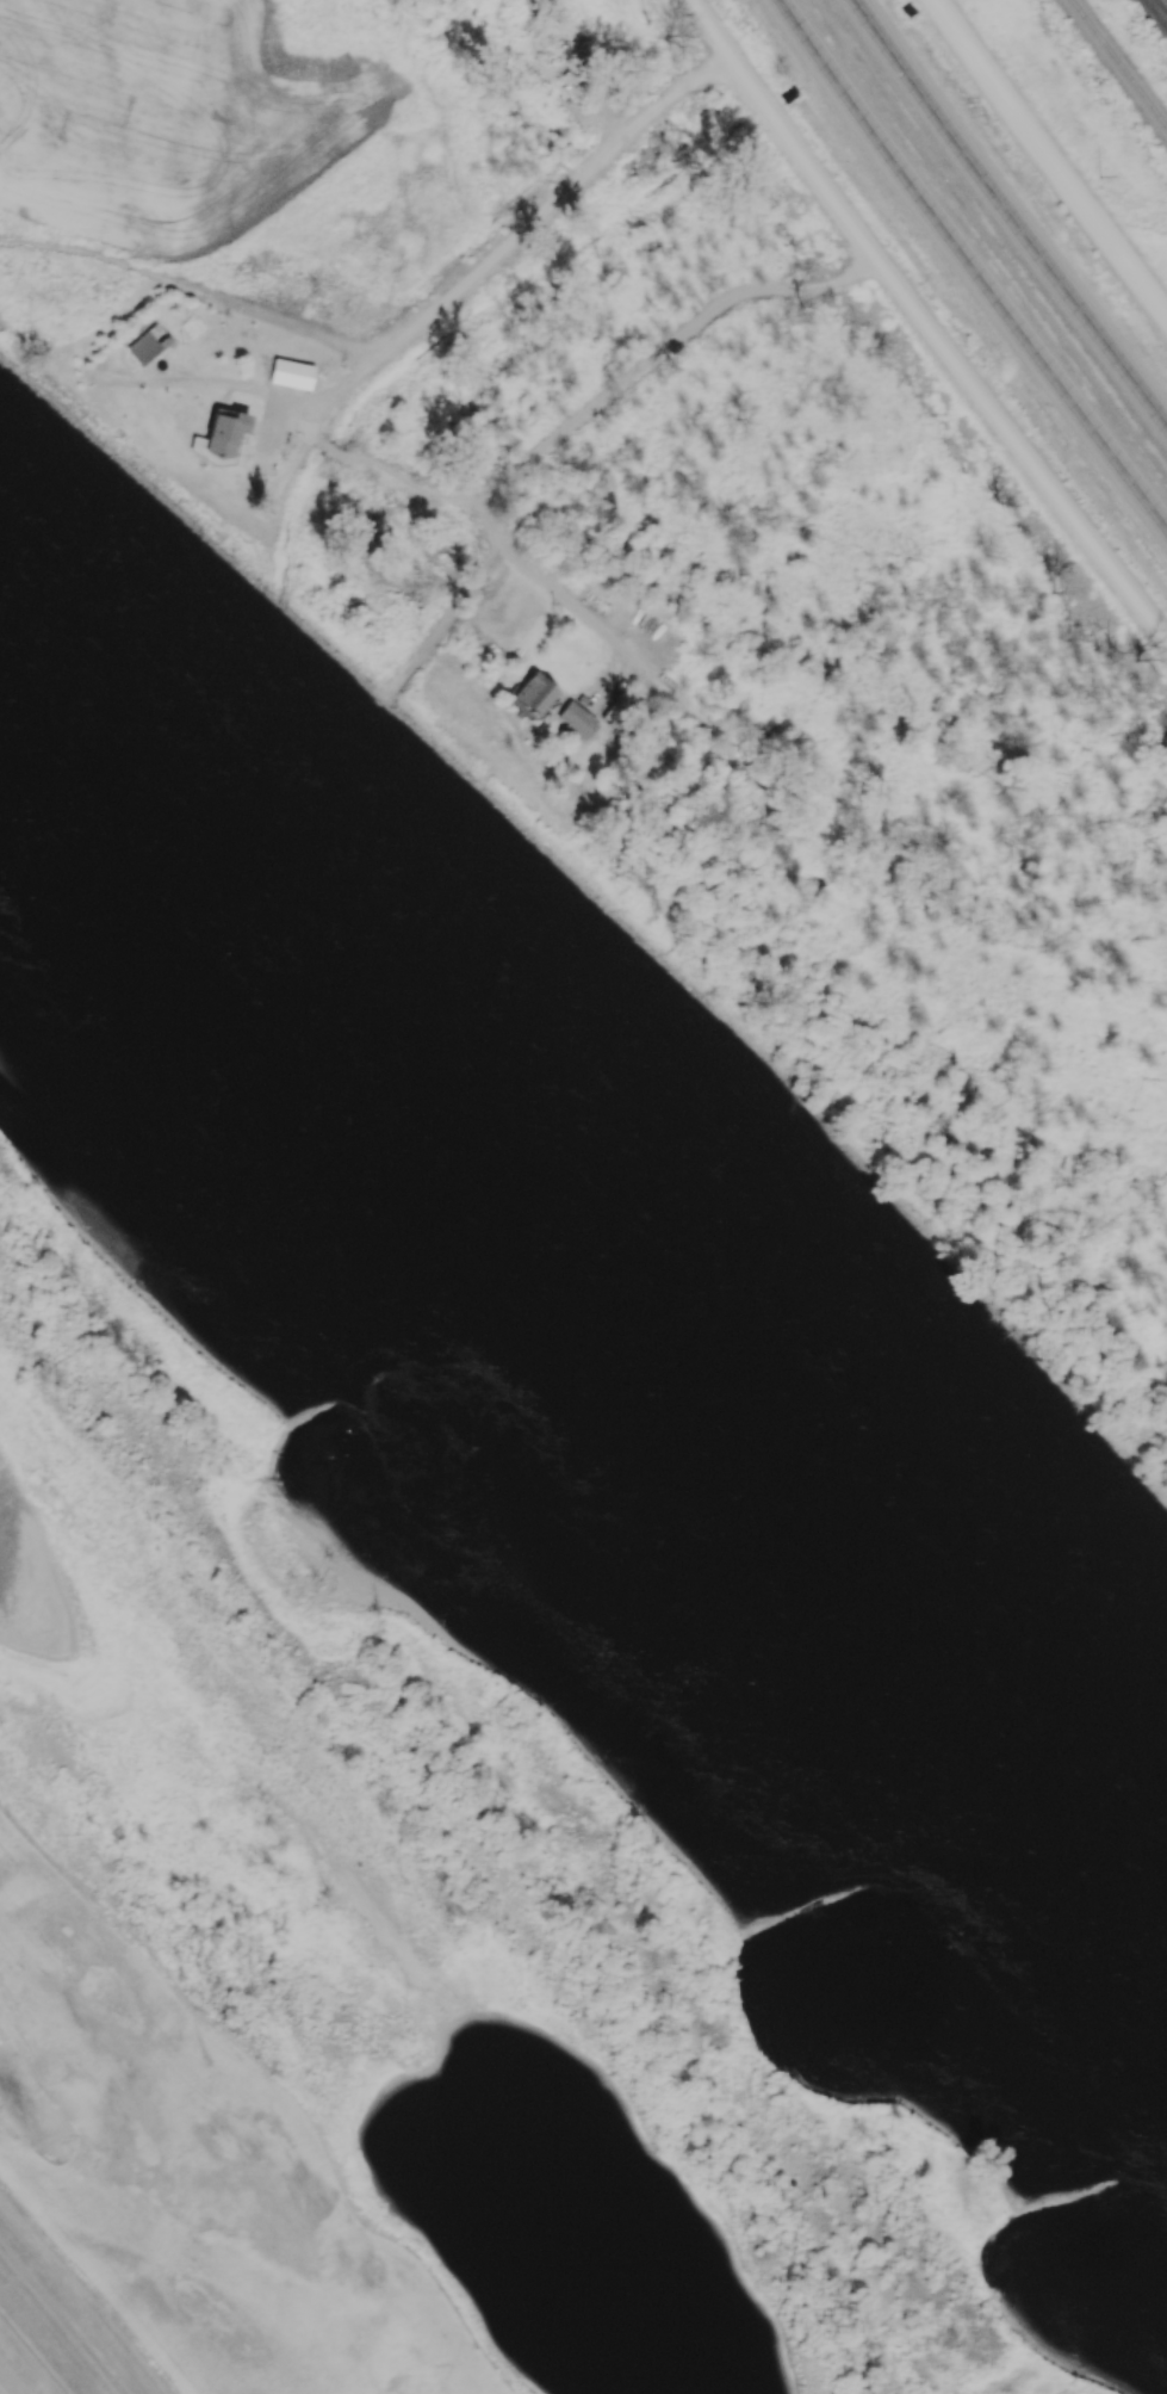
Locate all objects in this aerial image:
railway: (1160, 7)
railway: (1118, 64)
road: (1049, 159)
power tower: (1098, 178)
road: (564, 196)
road: (1008, 214)
road: (969, 267)
road: (924, 324)
building: (142, 347)
road: (391, 348)
building: (290, 375)
road: (311, 421)
building: (223, 432)
road: (559, 437)
road: (329, 447)
road: (411, 482)
building: (533, 693)
building: (576, 719)
river: (616, 1281)
airport: (21, 2367)
road: (8, 2382)

